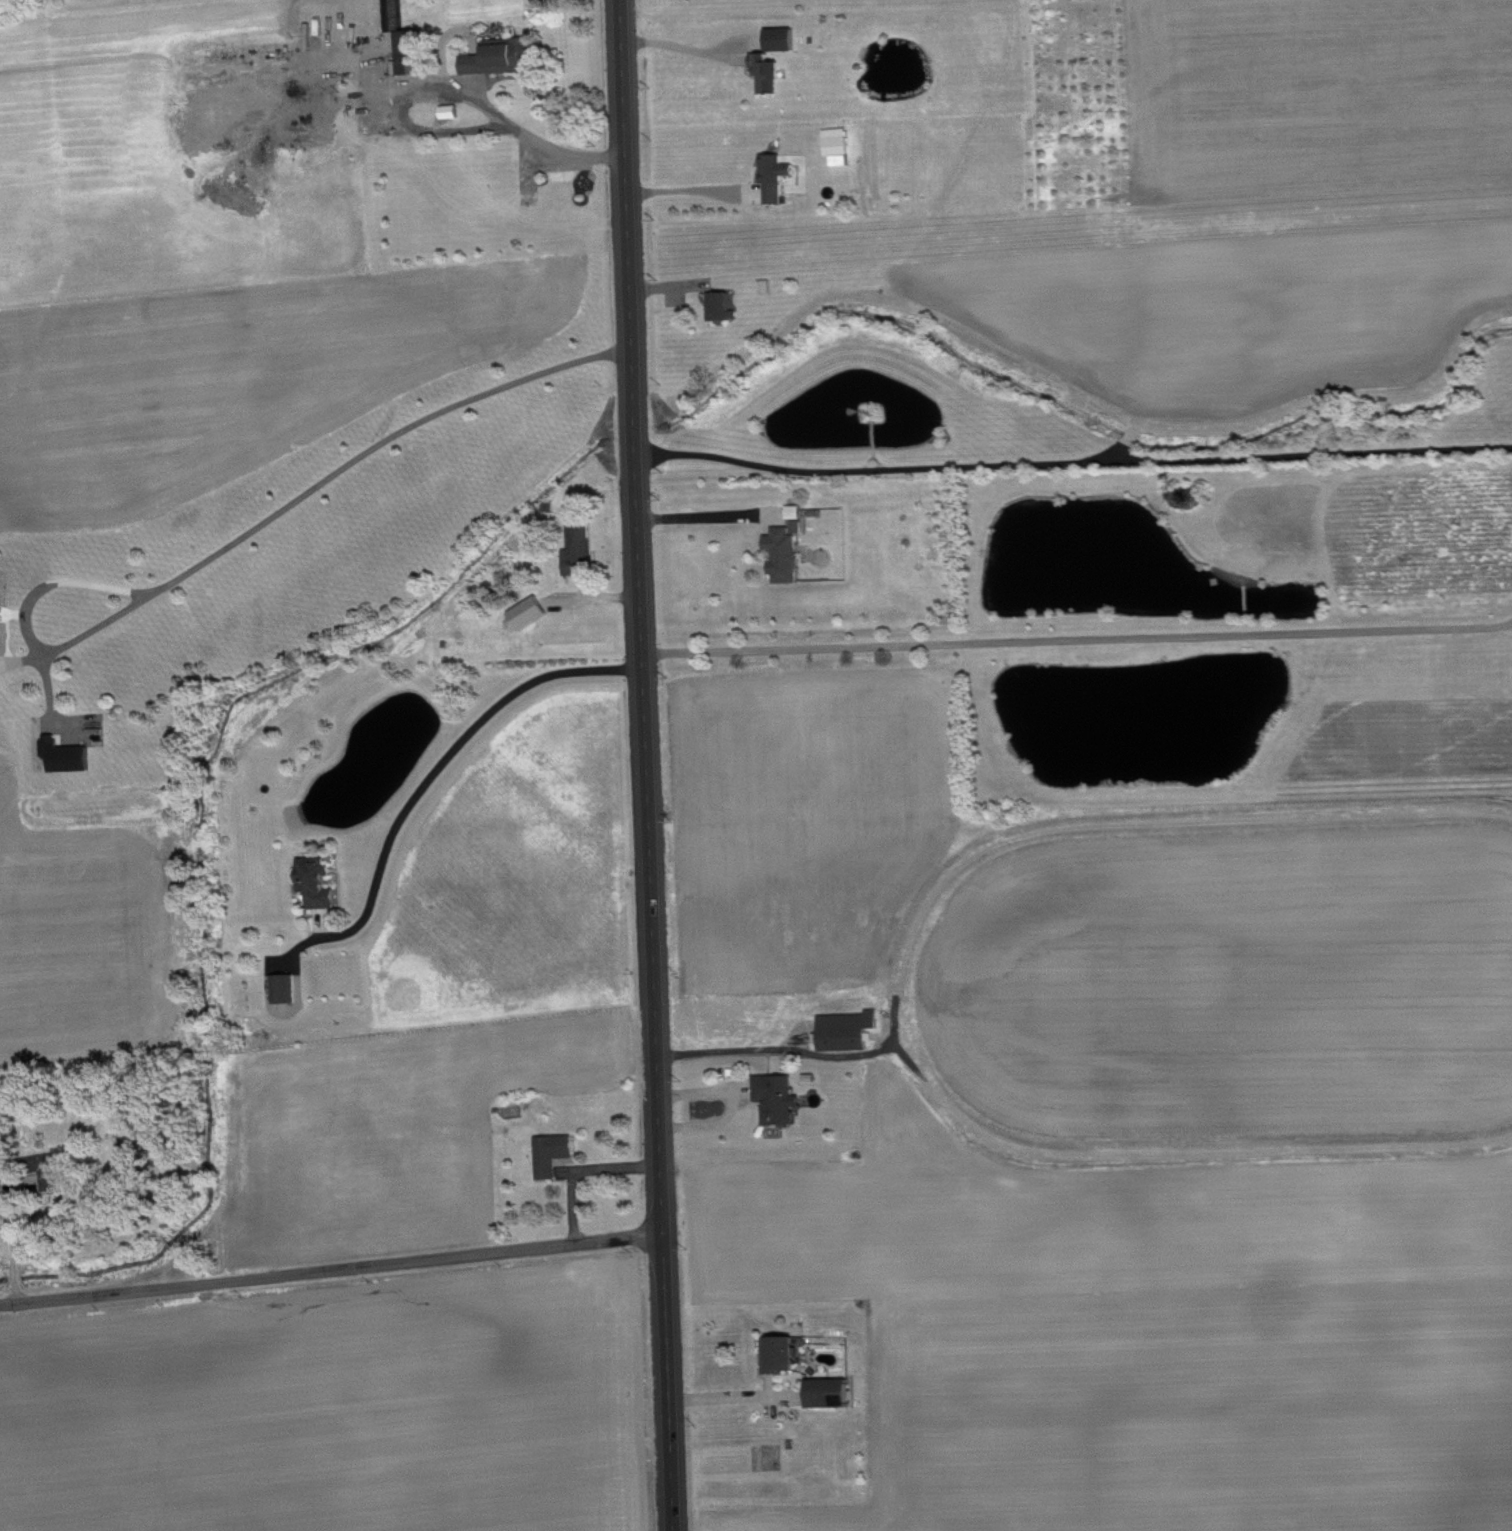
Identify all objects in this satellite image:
building: (786, 40)
road: (677, 48)
building: (416, 52)
building: (506, 57)
building: (772, 73)
road: (534, 146)
building: (842, 146)
building: (780, 176)
road: (685, 192)
building: (725, 306)
road: (1073, 460)
road: (328, 475)
road: (707, 518)
building: (585, 548)
building: (789, 555)
building: (534, 613)
building: (1, 617)
road: (1078, 640)
building: (71, 757)
road: (442, 760)
road: (647, 765)
building: (322, 883)
building: (290, 989)
building: (852, 1031)
road: (765, 1049)
building: (783, 1099)
road: (729, 1104)
building: (557, 1155)
building: (50, 1174)
road: (10, 1223)
road: (14, 1274)
road: (331, 1274)
road: (16, 1297)
building: (785, 1355)
building: (834, 1394)
road: (728, 1403)

